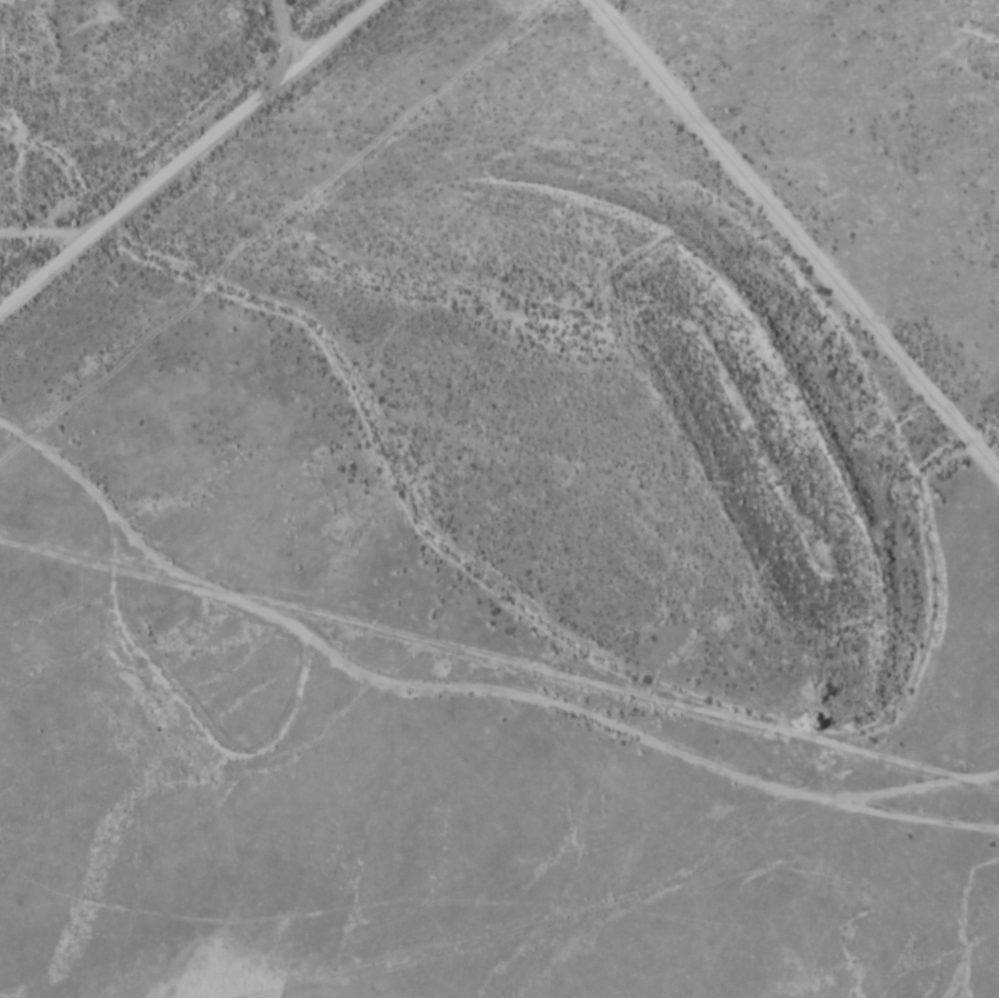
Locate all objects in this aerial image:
road: (170, 167)

